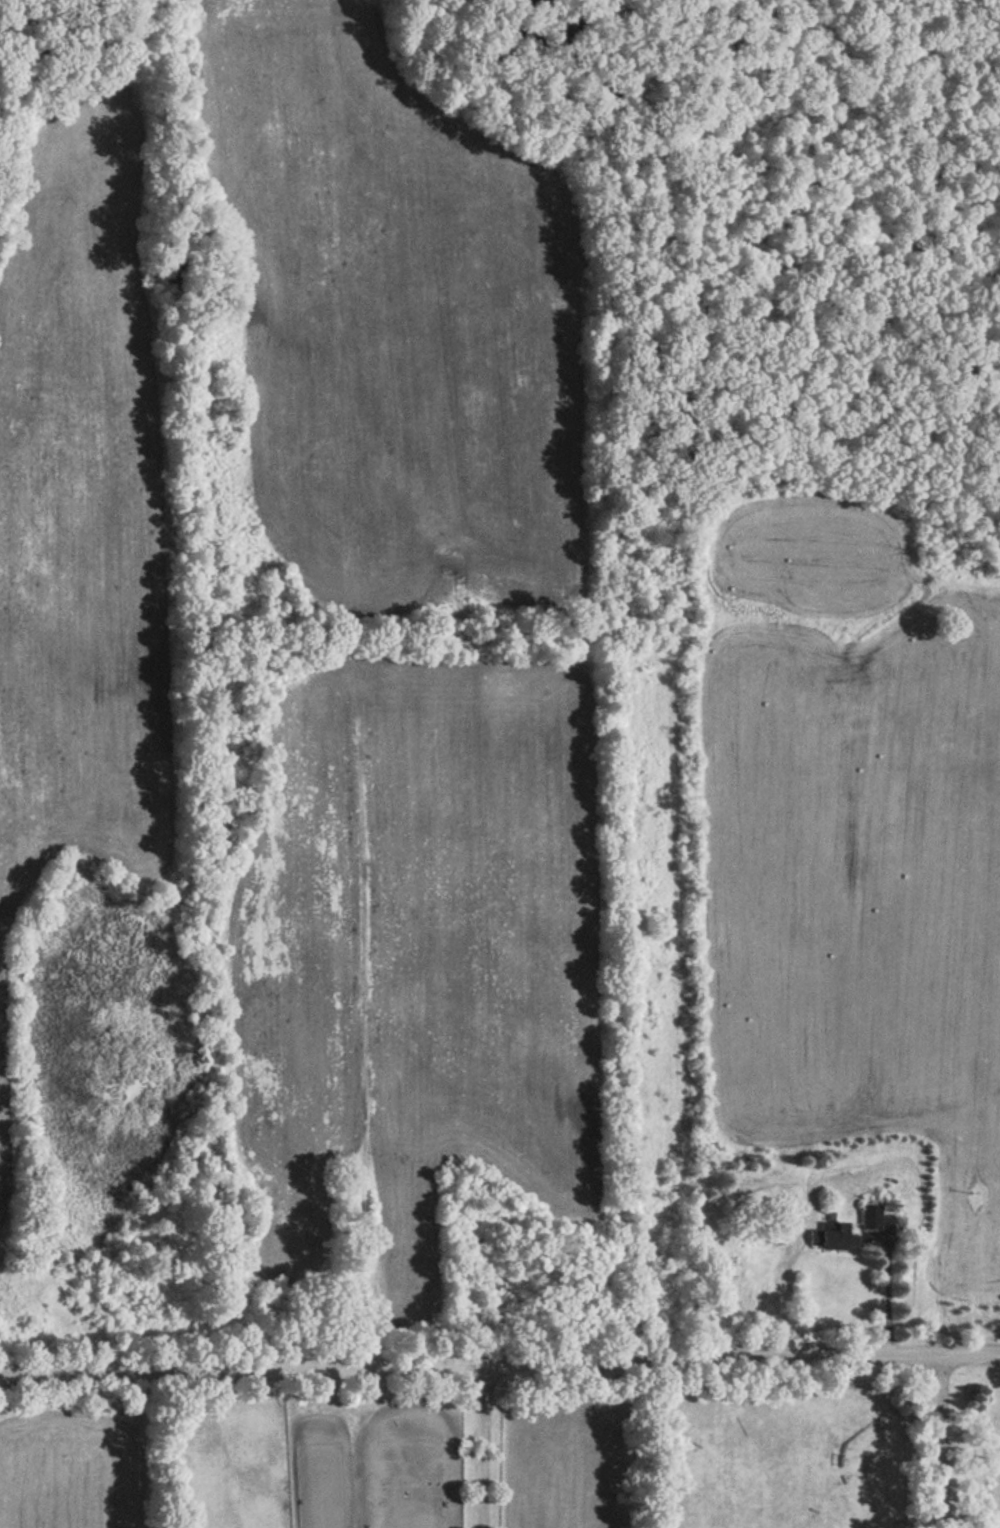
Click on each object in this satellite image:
building: (870, 1216)
building: (834, 1235)
road: (499, 1363)
road: (938, 1441)
road: (483, 1445)

